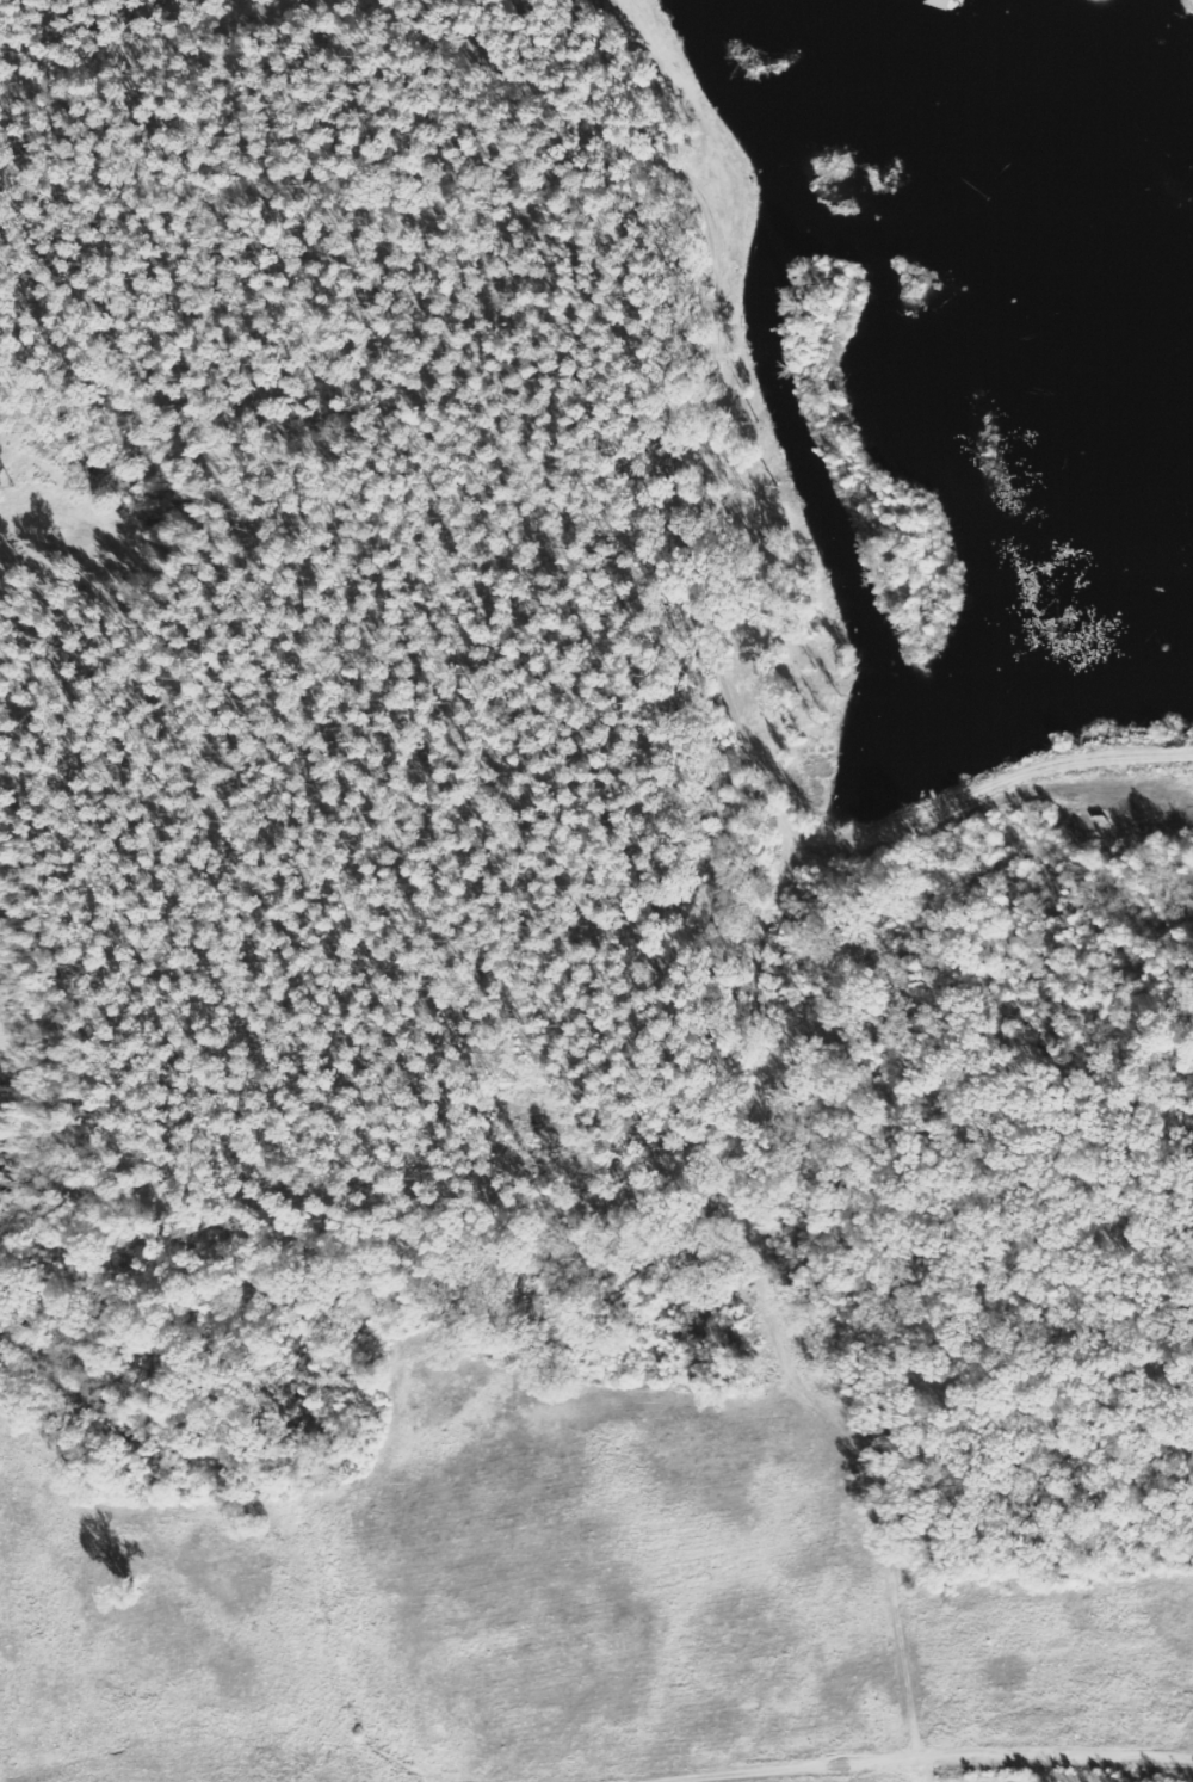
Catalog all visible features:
building: (942, 4)
road: (211, 82)

